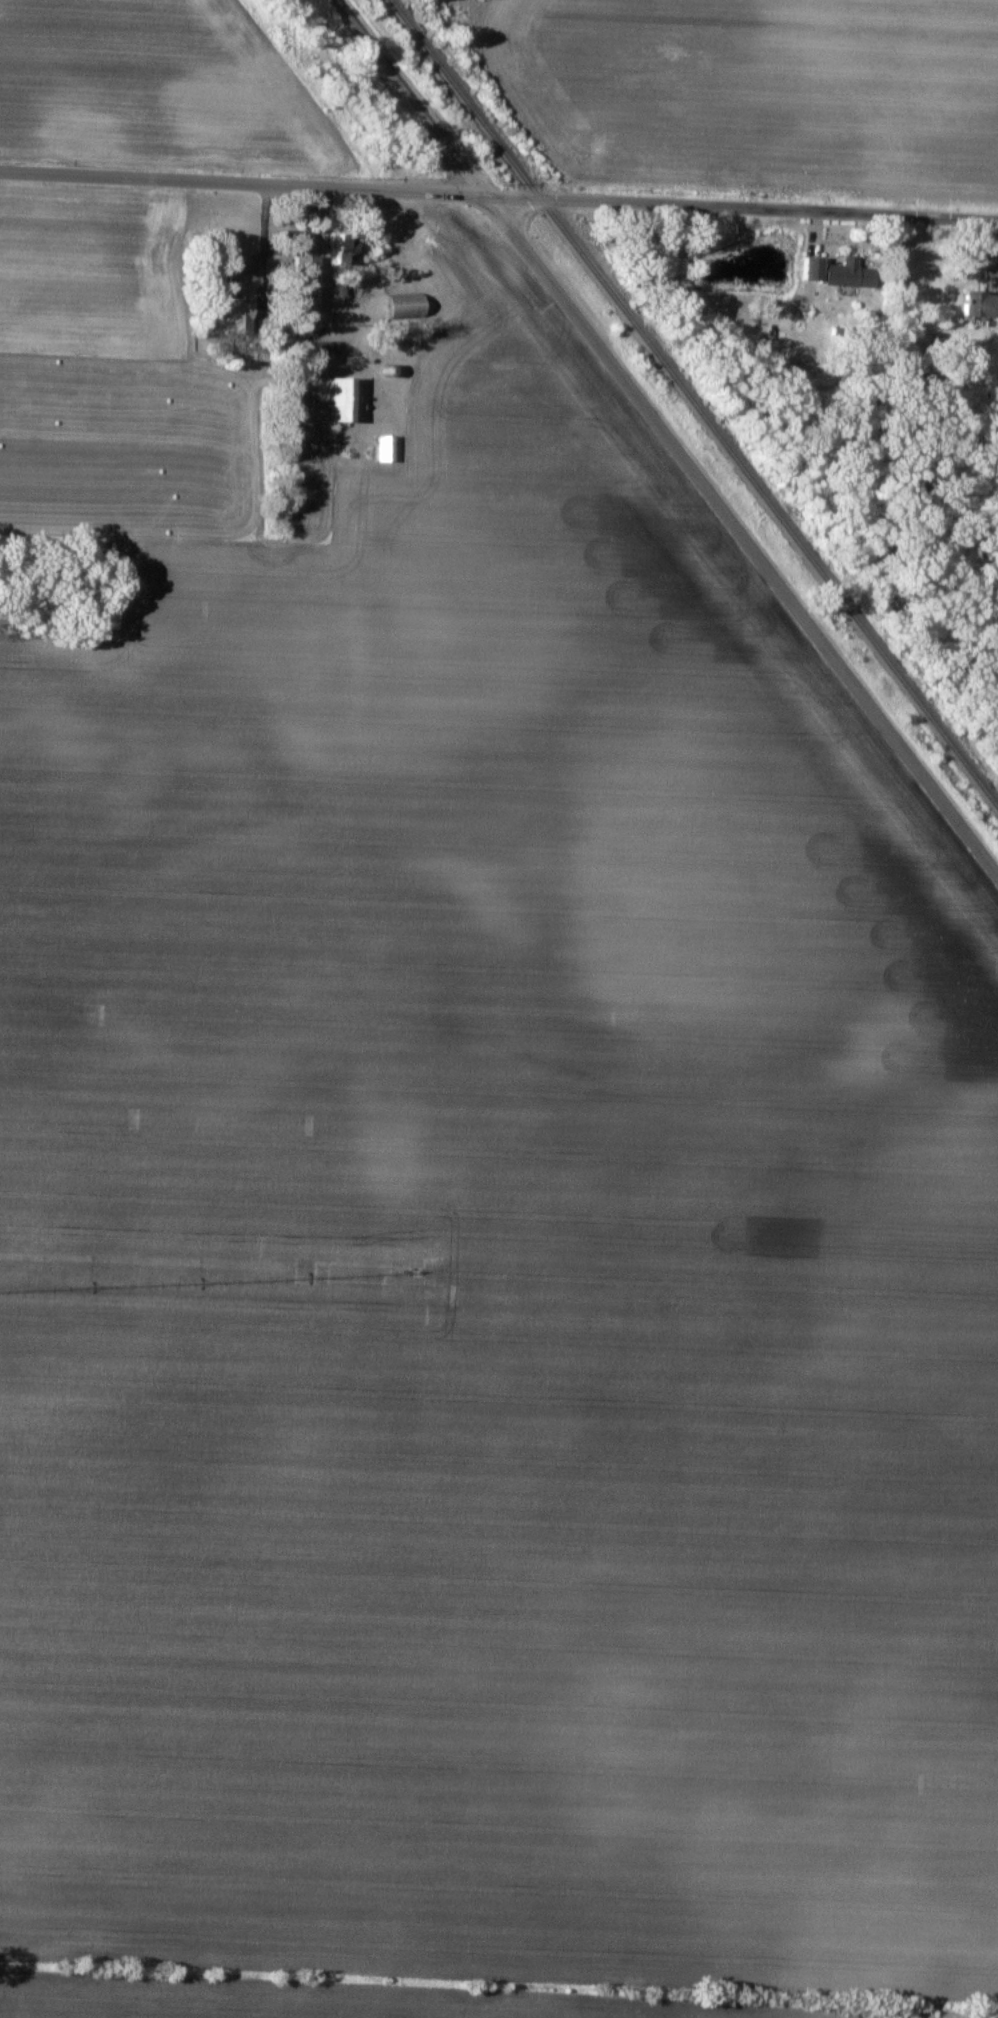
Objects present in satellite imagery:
road: (412, 97)
road: (242, 182)
road: (741, 206)
building: (842, 271)
building: (303, 286)
building: (975, 304)
building: (402, 305)
building: (236, 309)
building: (322, 351)
building: (335, 398)
railway: (694, 402)
building: (383, 448)
road: (742, 533)

